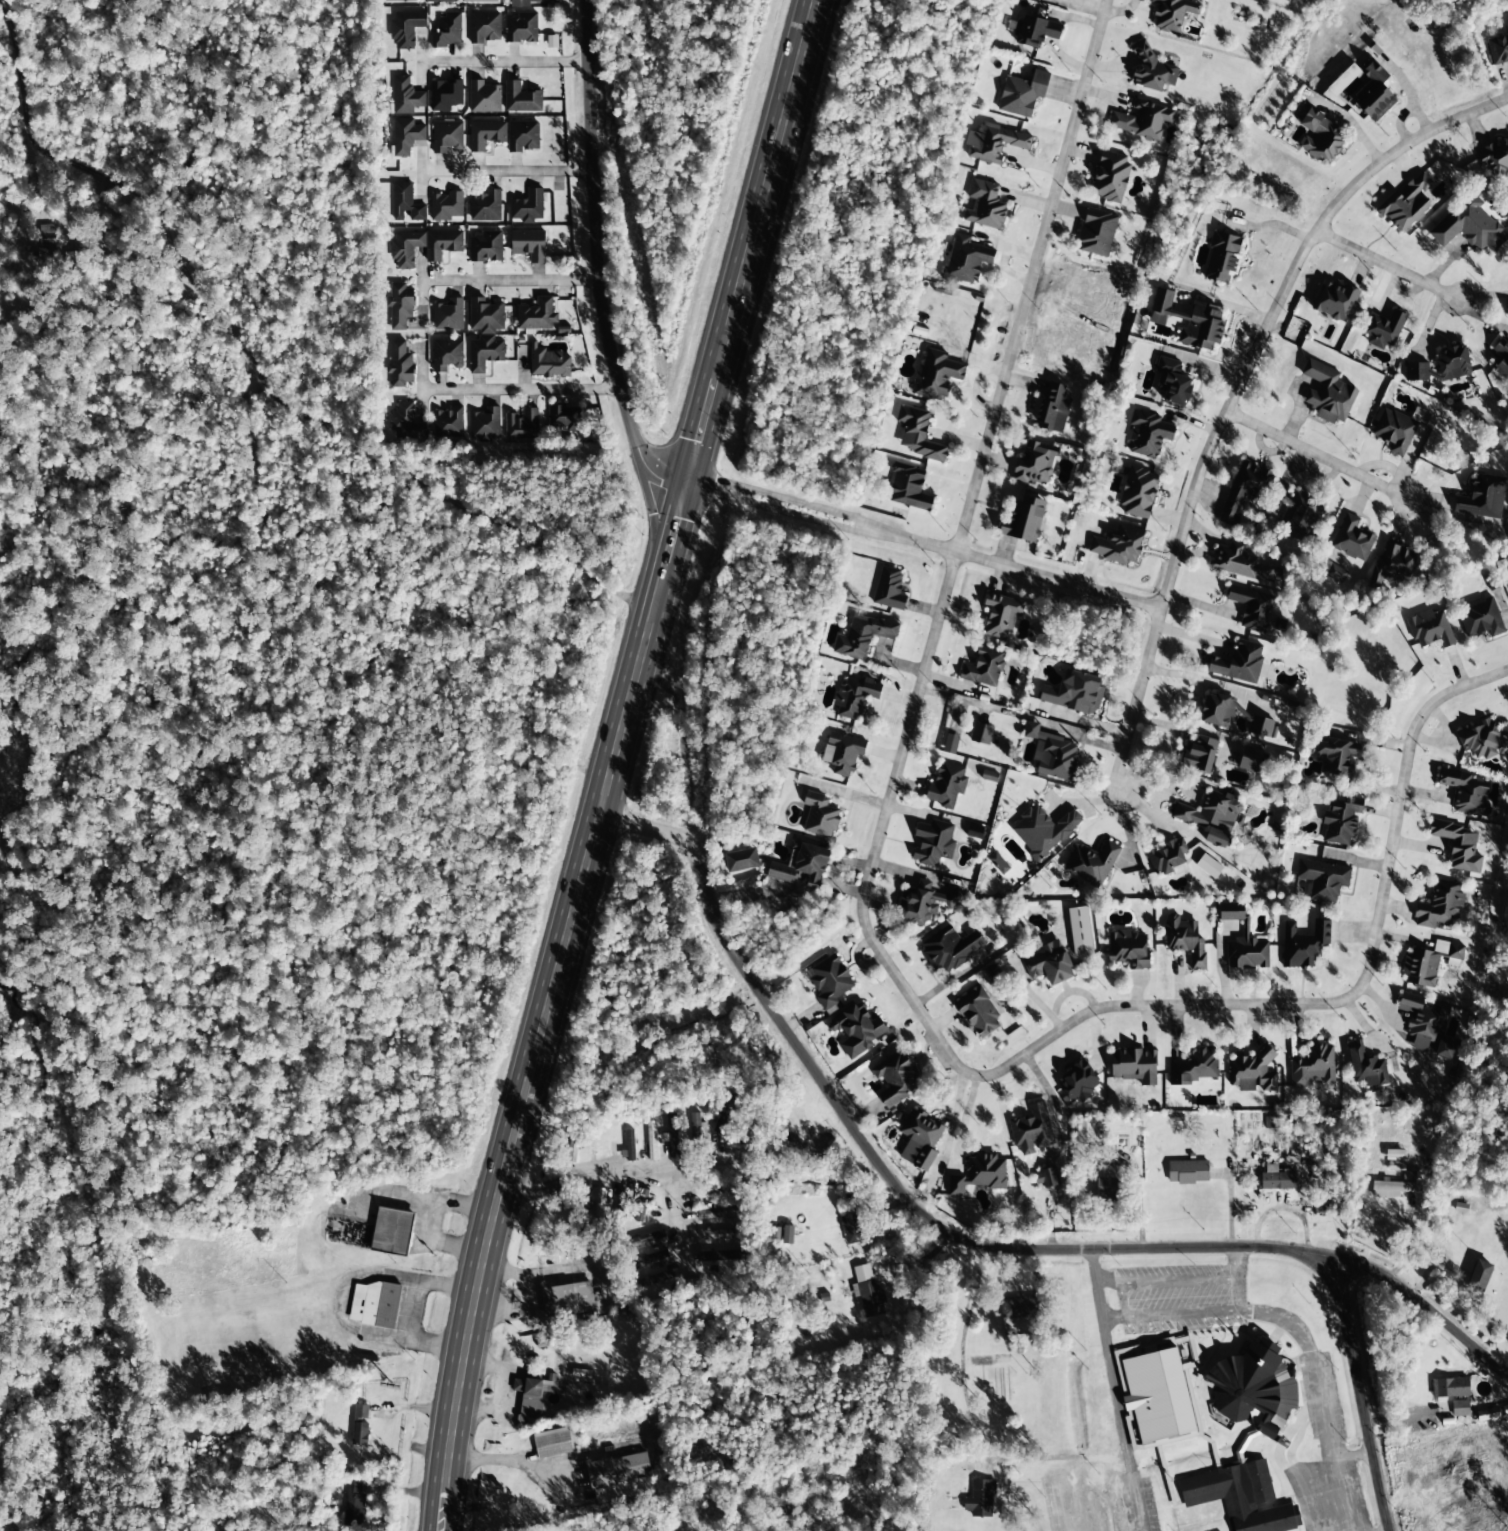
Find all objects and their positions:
building: (399, 1)
building: (438, 1)
building: (478, 1)
building: (521, 3)
building: (1172, 13)
building: (1506, 21)
building: (484, 28)
building: (405, 29)
building: (521, 29)
building: (447, 31)
building: (1037, 31)
building: (1498, 50)
road: (502, 63)
building: (1150, 69)
building: (1342, 81)
building: (1373, 93)
building: (1022, 94)
building: (445, 95)
building: (405, 96)
building: (484, 98)
building: (521, 99)
road: (783, 114)
building: (1143, 120)
building: (486, 135)
building: (523, 136)
building: (1318, 136)
building: (405, 137)
building: (446, 137)
building: (993, 143)
building: (1495, 160)
road: (505, 172)
building: (1110, 177)
building: (405, 203)
building: (1406, 204)
building: (984, 206)
building: (485, 207)
building: (527, 207)
building: (1469, 226)
building: (1096, 234)
building: (529, 245)
building: (423, 246)
building: (486, 247)
road: (591, 254)
building: (1222, 258)
building: (966, 259)
road: (1386, 264)
road: (506, 281)
building: (1334, 301)
building: (399, 306)
building: (448, 316)
building: (536, 316)
building: (1507, 316)
building: (1189, 321)
building: (1383, 330)
building: (485, 334)
building: (446, 355)
building: (1501, 360)
building: (548, 363)
building: (399, 365)
building: (1440, 366)
building: (935, 376)
building: (1172, 382)
road: (267, 384)
road: (517, 389)
road: (1233, 390)
building: (1327, 393)
building: (1051, 409)
building: (564, 418)
building: (406, 421)
building: (448, 422)
building: (484, 424)
building: (522, 425)
building: (1396, 431)
building: (916, 434)
building: (1147, 435)
road: (1312, 456)
building: (1034, 464)
traffic signals: (686, 473)
building: (908, 487)
building: (1244, 491)
building: (1137, 494)
building: (1481, 497)
road: (647, 502)
building: (1300, 517)
building: (1023, 520)
building: (1351, 539)
road: (919, 542)
building: (1117, 545)
building: (1243, 564)
building: (1392, 565)
building: (1332, 572)
building: (889, 589)
building: (1252, 607)
building: (1001, 615)
building: (1480, 618)
building: (1429, 629)
building: (864, 635)
building: (1239, 663)
building: (983, 668)
building: (1077, 693)
building: (855, 696)
building: (1217, 712)
road: (677, 722)
building: (1262, 727)
building: (981, 734)
building: (1480, 738)
building: (841, 754)
building: (1053, 755)
building: (1199, 755)
building: (1336, 757)
building: (1249, 759)
building: (987, 773)
building: (946, 786)
building: (1466, 792)
building: (1210, 812)
building: (819, 816)
building: (1341, 821)
building: (1043, 831)
building: (932, 843)
building: (1458, 846)
building: (1167, 856)
building: (741, 860)
building: (998, 863)
building: (1091, 864)
building: (800, 866)
building: (1208, 867)
road: (579, 876)
building: (1323, 879)
building: (923, 903)
building: (1439, 906)
building: (1079, 931)
road: (866, 935)
building: (1184, 940)
building: (1303, 944)
building: (1245, 947)
building: (1128, 949)
building: (950, 950)
building: (1048, 963)
building: (1429, 963)
building: (997, 970)
building: (829, 981)
building: (978, 1013)
building: (1426, 1025)
building: (857, 1029)
building: (1312, 1066)
building: (1366, 1066)
building: (1133, 1067)
building: (1193, 1067)
building: (1250, 1072)
building: (896, 1078)
building: (1077, 1082)
building: (720, 1122)
building: (695, 1126)
building: (1031, 1130)
building: (672, 1136)
building: (919, 1140)
building: (651, 1141)
building: (628, 1147)
building: (1394, 1157)
road: (664, 1159)
building: (1187, 1172)
building: (979, 1174)
building: (1045, 1178)
building: (1276, 1179)
building: (1108, 1184)
building: (1397, 1186)
building: (621, 1202)
building: (641, 1206)
building: (718, 1213)
building: (851, 1229)
building: (392, 1232)
building: (717, 1234)
road: (959, 1236)
building: (645, 1239)
building: (1479, 1276)
building: (653, 1279)
building: (867, 1291)
building: (568, 1300)
building: (375, 1305)
building: (1018, 1307)
road: (1113, 1384)
road: (1312, 1385)
building: (1253, 1387)
building: (1449, 1388)
building: (1157, 1395)
building: (531, 1397)
road: (965, 1418)
building: (359, 1425)
building: (552, 1443)
building: (620, 1478)
building: (1240, 1497)
building: (979, 1499)
building: (353, 1505)

